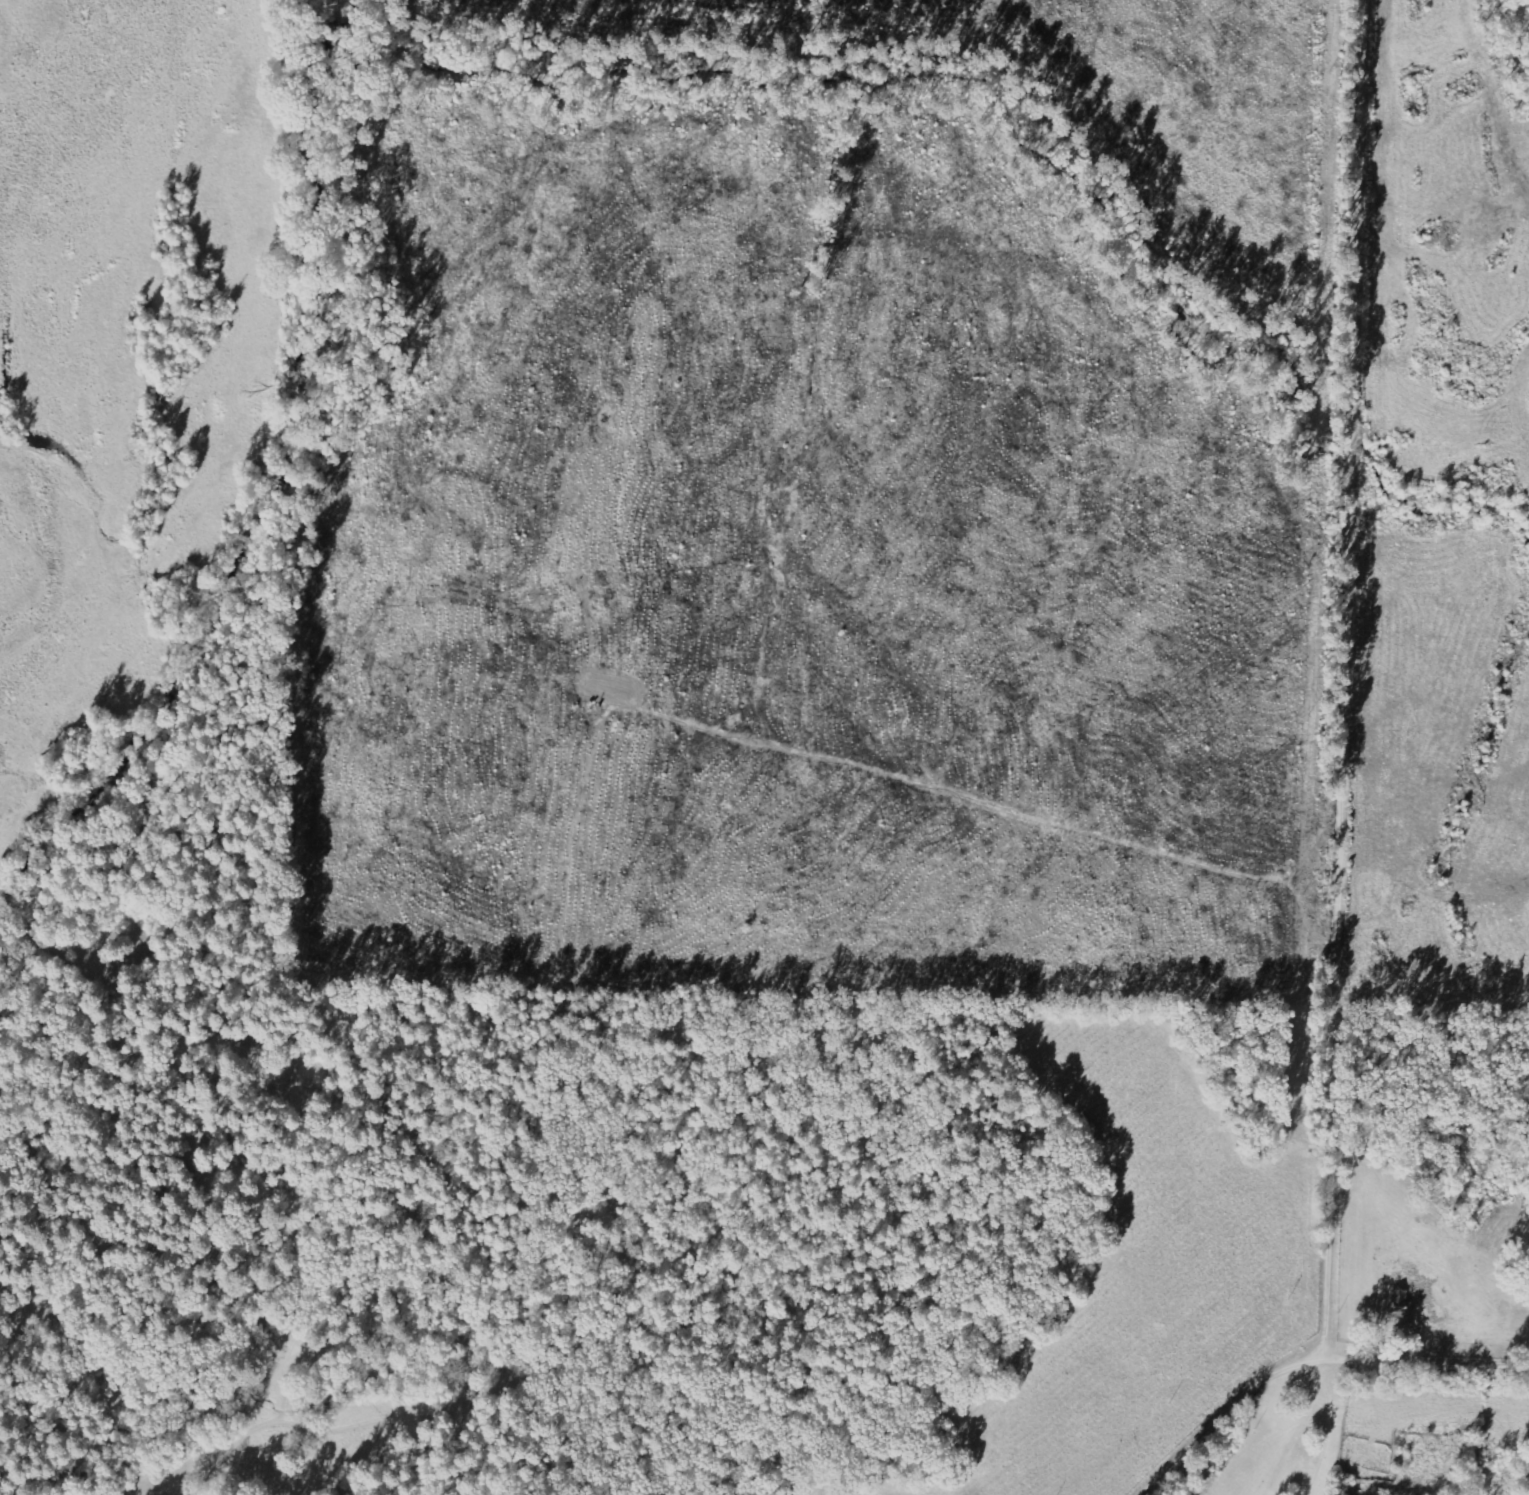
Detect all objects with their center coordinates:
road: (1354, 681)
building: (1399, 1297)
road: (1429, 1373)
road: (1229, 1411)

